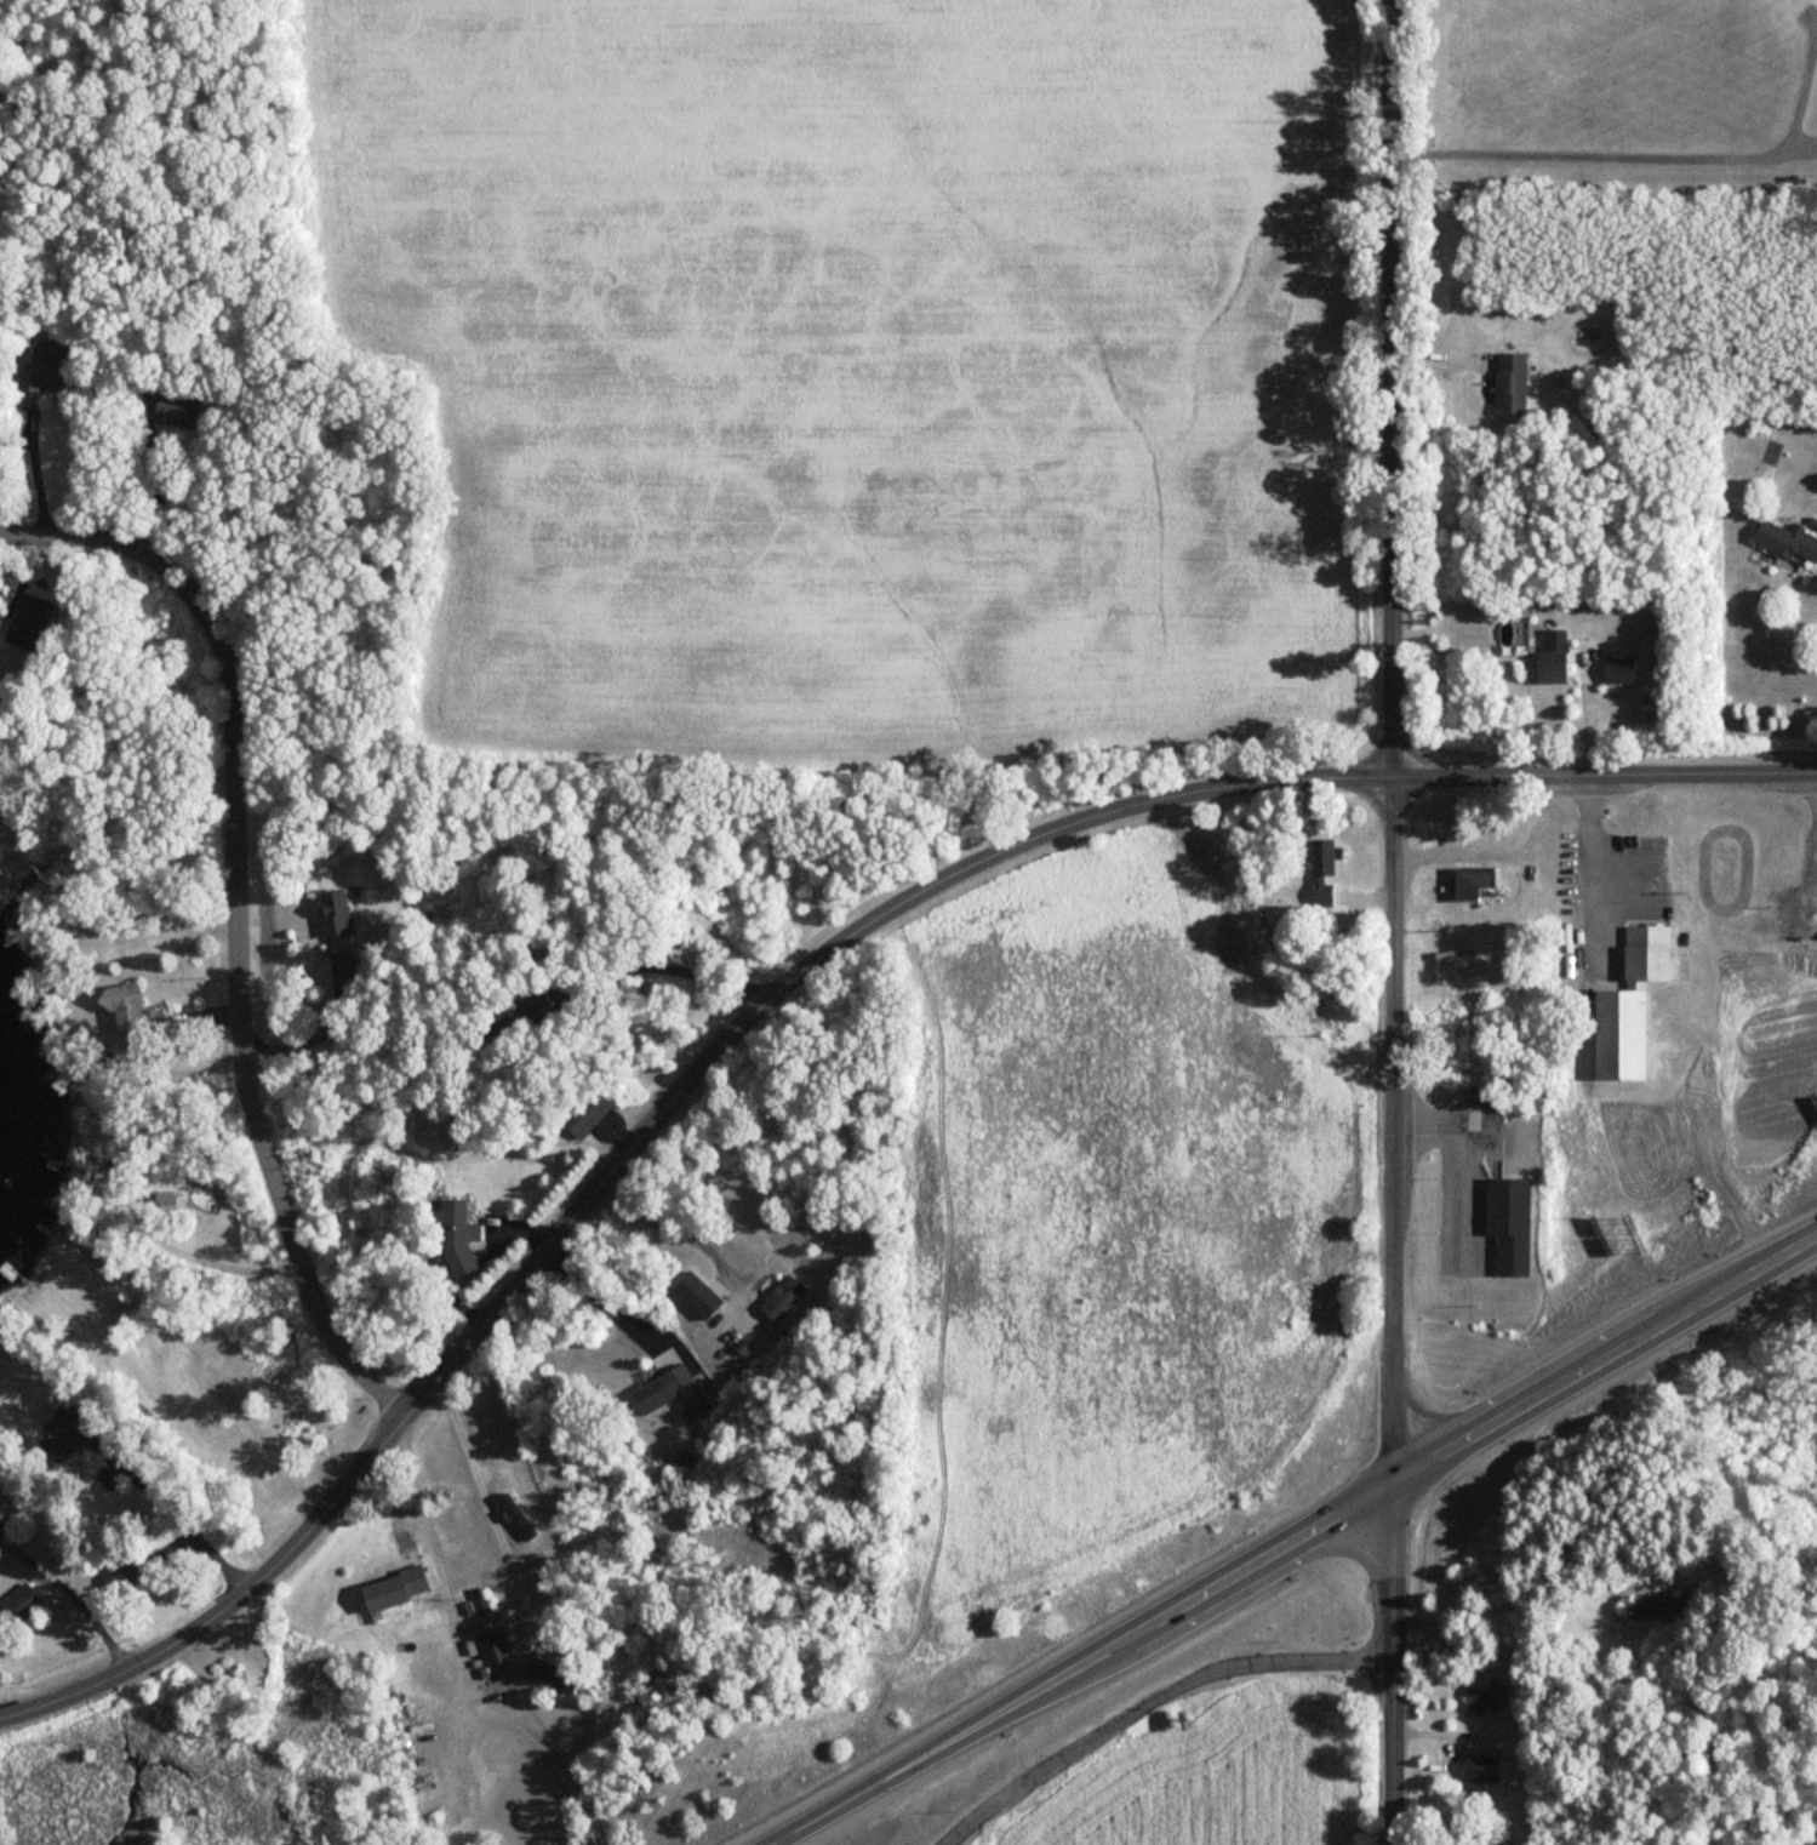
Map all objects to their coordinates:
road: (1646, 159)
road: (1452, 264)
building: (56, 372)
building: (1508, 383)
building: (175, 411)
road: (162, 486)
building: (1784, 542)
building: (1549, 658)
building: (1616, 670)
road: (1816, 759)
road: (1816, 786)
road: (1589, 870)
building: (1320, 872)
building: (1473, 884)
road: (236, 914)
building: (341, 914)
road: (1392, 921)
road: (661, 966)
road: (781, 988)
building: (1627, 1006)
building: (138, 1013)
building: (582, 1115)
road: (1463, 1155)
building: (1507, 1224)
road: (664, 1227)
building: (465, 1236)
building: (110, 1257)
building: (702, 1296)
building: (784, 1298)
road: (599, 1300)
road: (1605, 1359)
building: (672, 1392)
building: (75, 1435)
building: (2, 1480)
building: (520, 1518)
road: (188, 1530)
building: (135, 1576)
road: (444, 1584)
building: (399, 1590)
road: (68, 1600)
road: (1516, 1601)
building: (482, 1603)
building: (25, 1604)
building: (1639, 1611)
road: (528, 1615)
building: (496, 1649)
road: (1081, 1663)
building: (554, 1675)
road: (1149, 1700)
building: (1480, 1701)
building: (1478, 1770)

